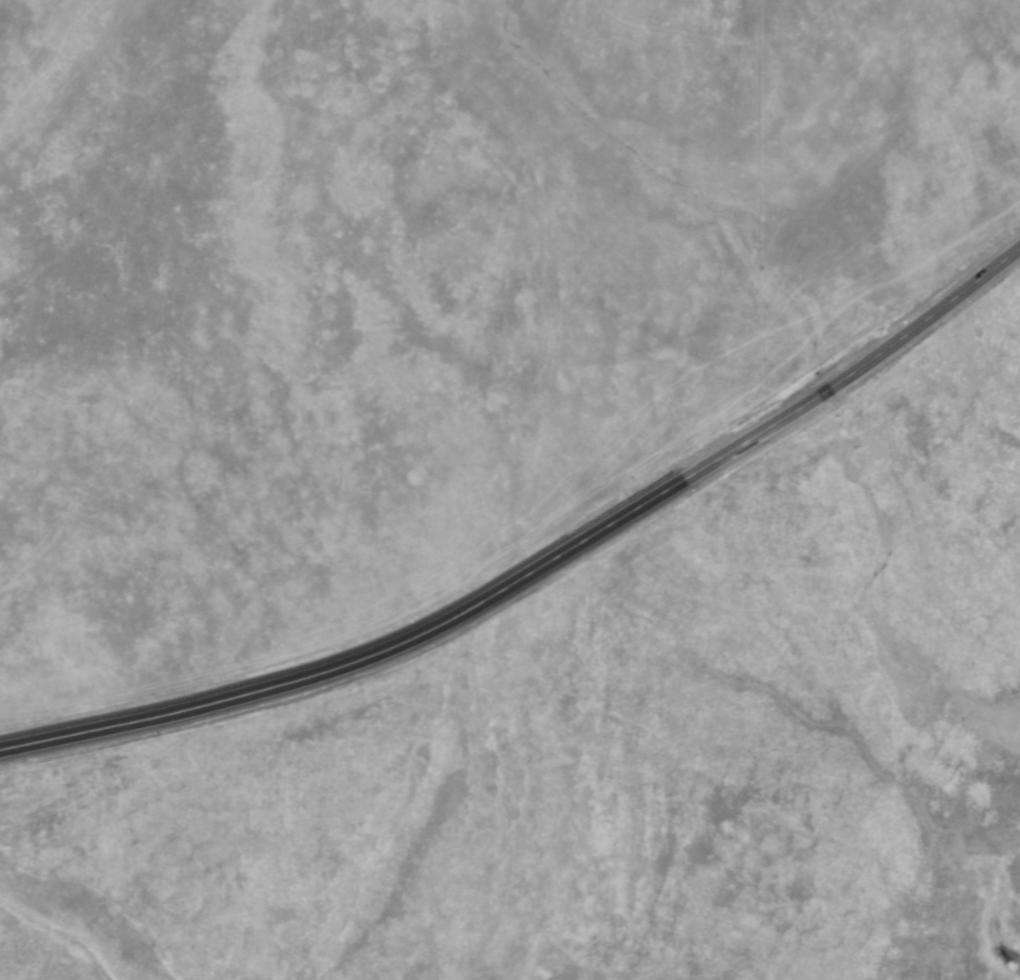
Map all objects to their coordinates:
road: (541, 566)

